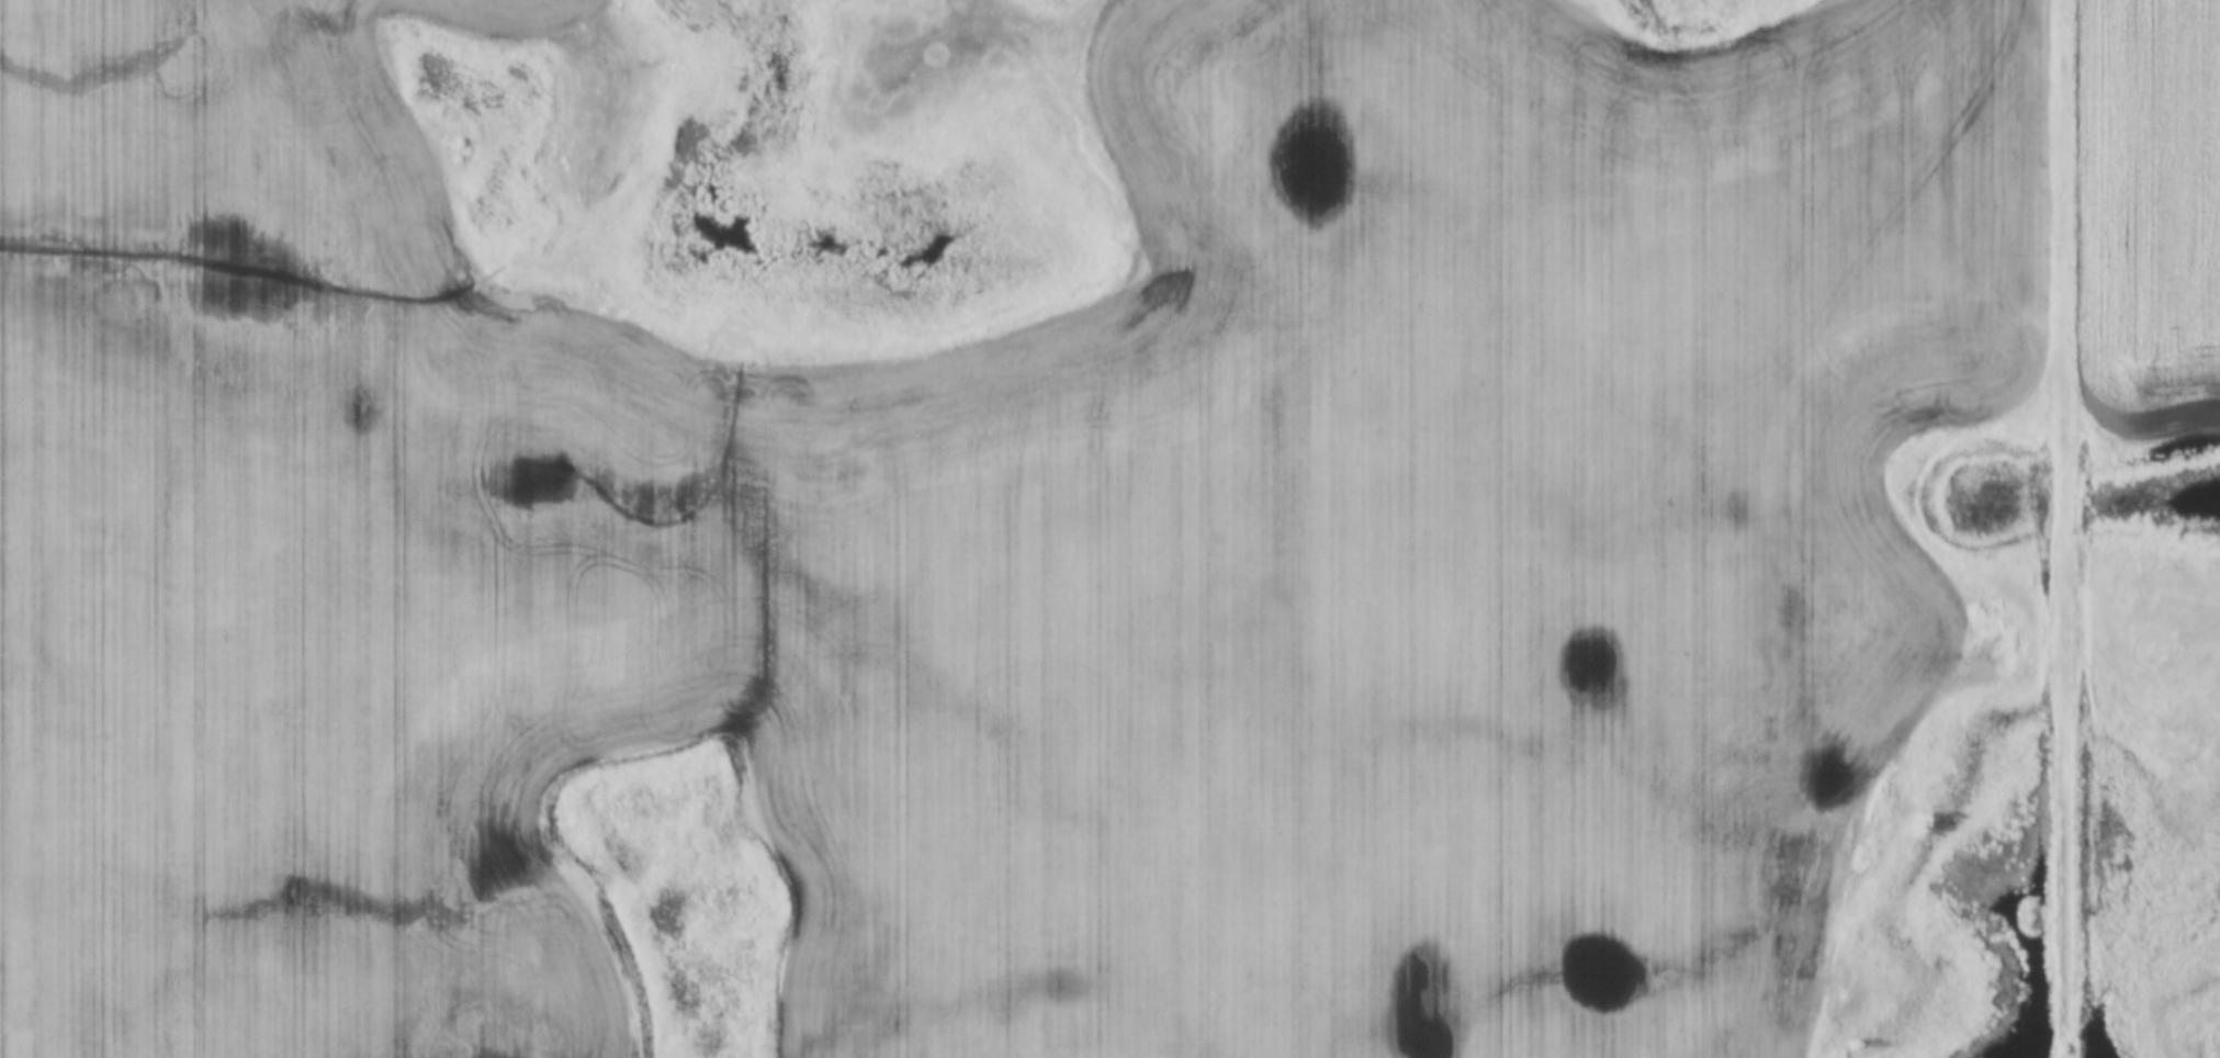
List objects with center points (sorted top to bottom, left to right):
road: (2072, 529)

